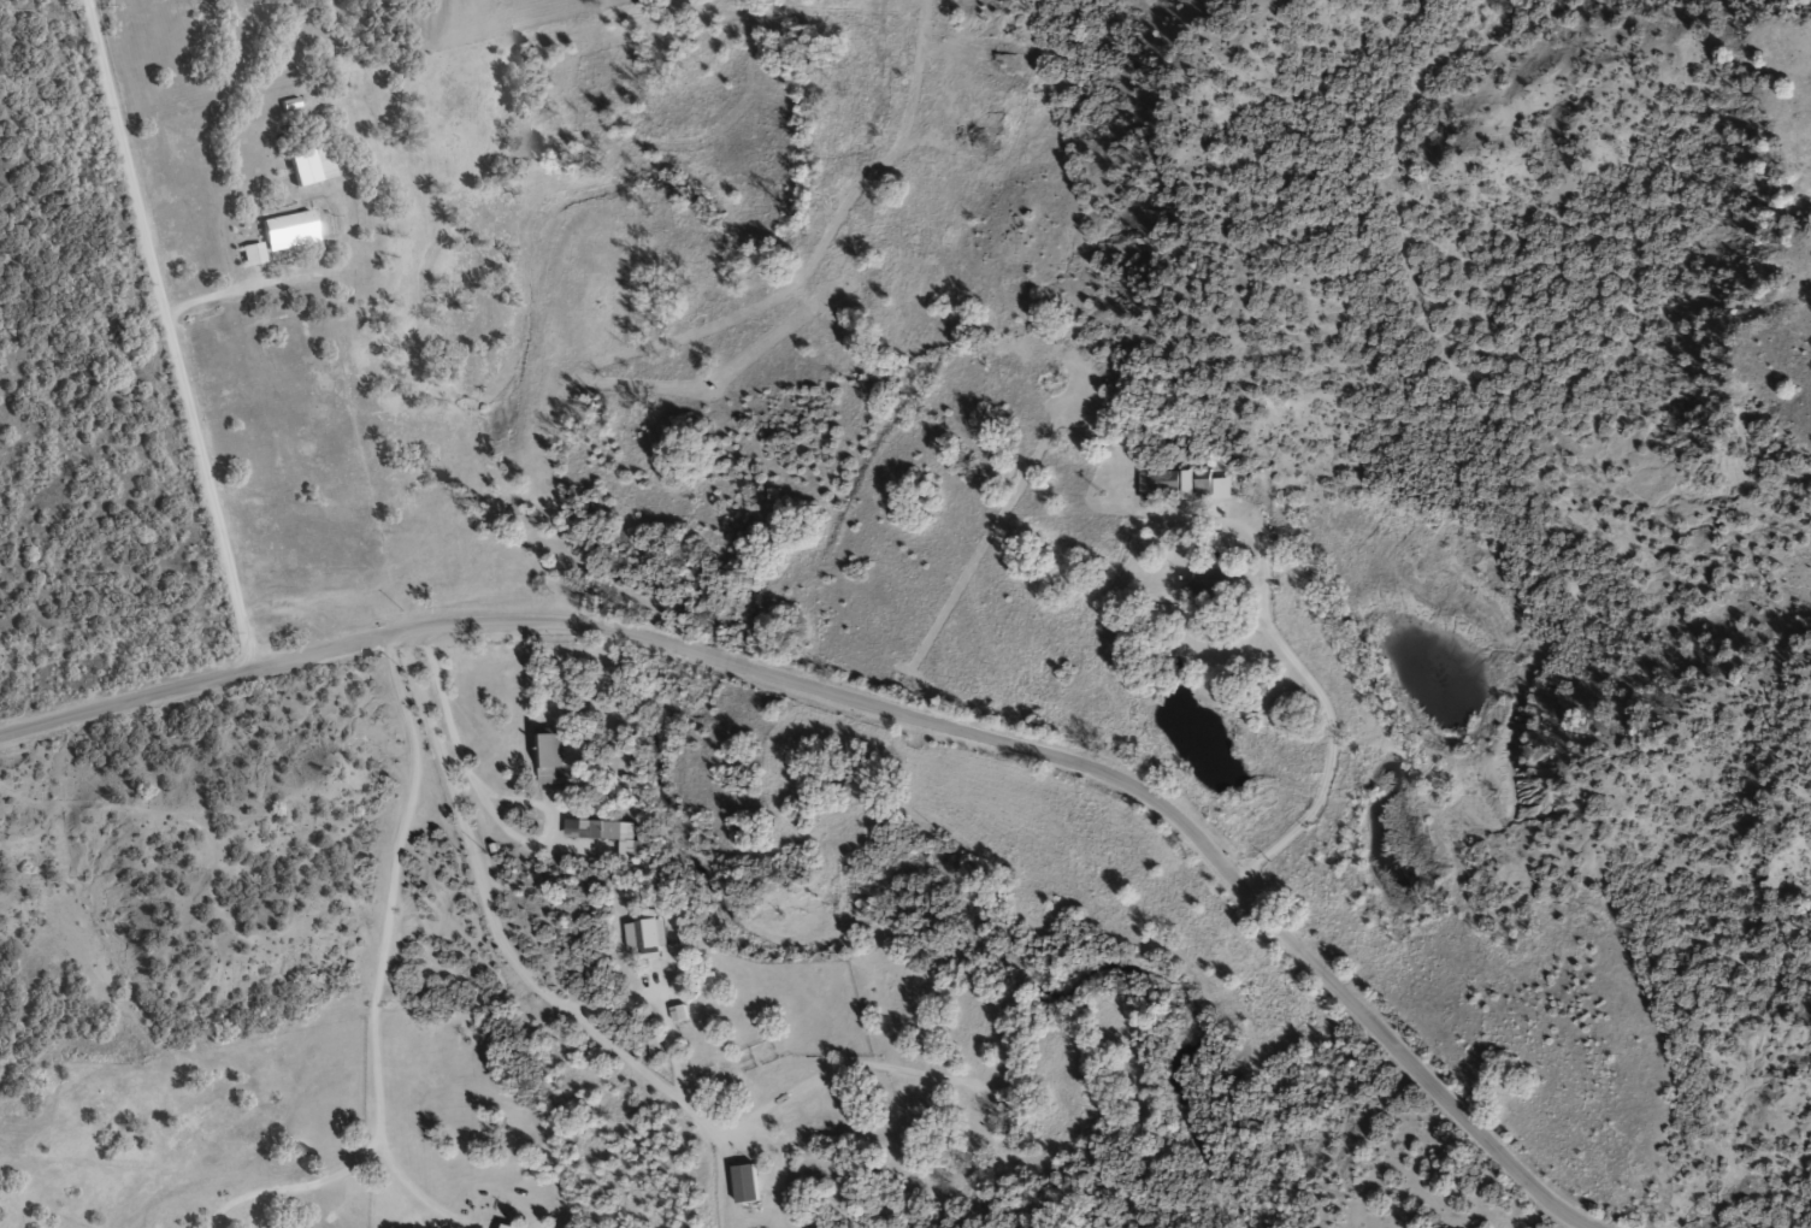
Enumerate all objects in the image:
building: (311, 175)
building: (289, 240)
building: (252, 262)
road: (213, 305)
road: (165, 330)
building: (1158, 494)
building: (1203, 495)
building: (1209, 590)
road: (1322, 697)
road: (892, 703)
building: (547, 766)
road: (480, 797)
building: (608, 844)
road: (489, 905)
building: (647, 944)
road: (379, 980)
building: (728, 1079)

